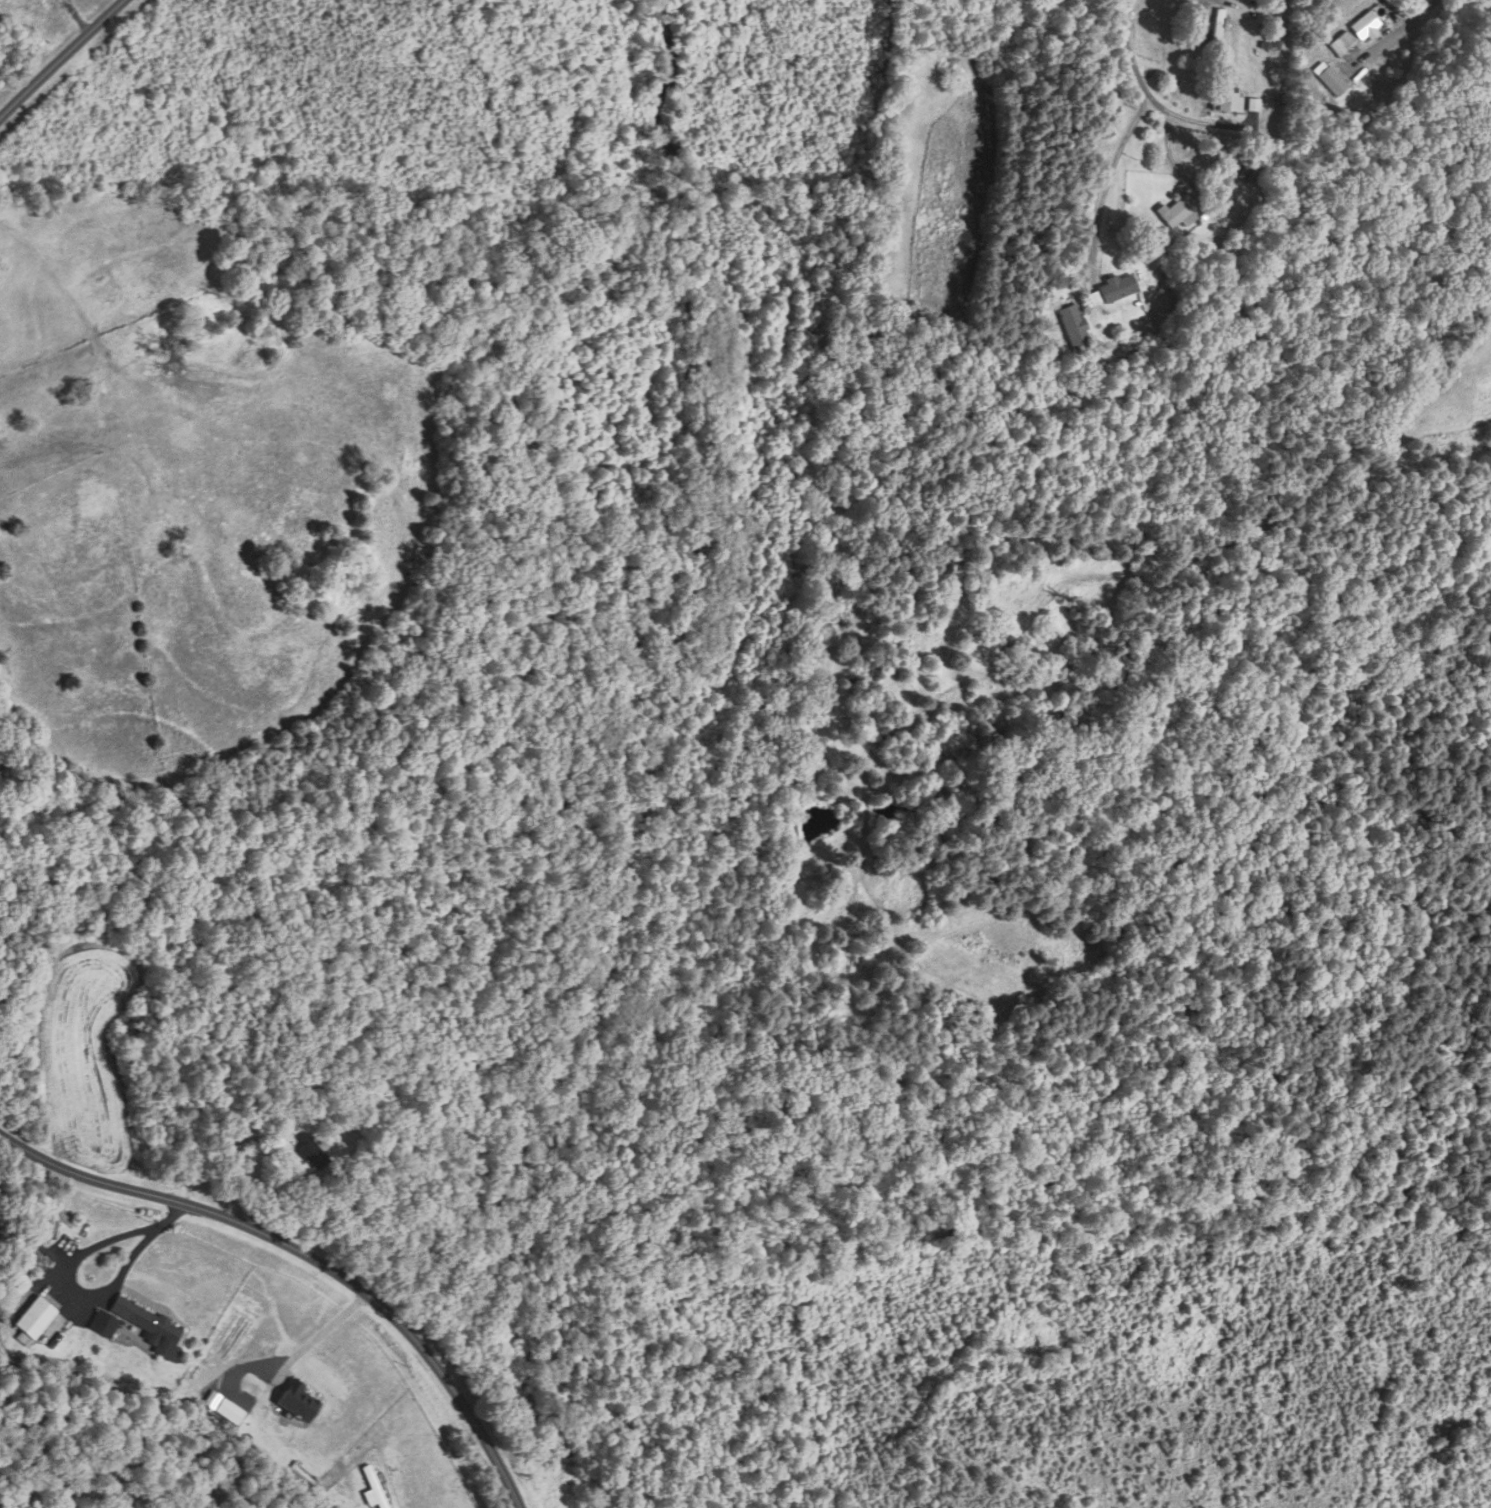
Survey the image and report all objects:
building: (1333, 2)
building: (1365, 25)
road: (1398, 27)
building: (1218, 29)
building: (1340, 42)
road: (61, 59)
road: (1132, 73)
building: (1227, 101)
road: (1102, 181)
building: (1179, 210)
building: (1111, 290)
building: (1073, 329)
building: (311, 1151)
road: (309, 1255)
road: (69, 1267)
building: (38, 1319)
building: (106, 1323)
building: (154, 1327)
road: (321, 1332)
building: (295, 1402)
building: (378, 1486)

